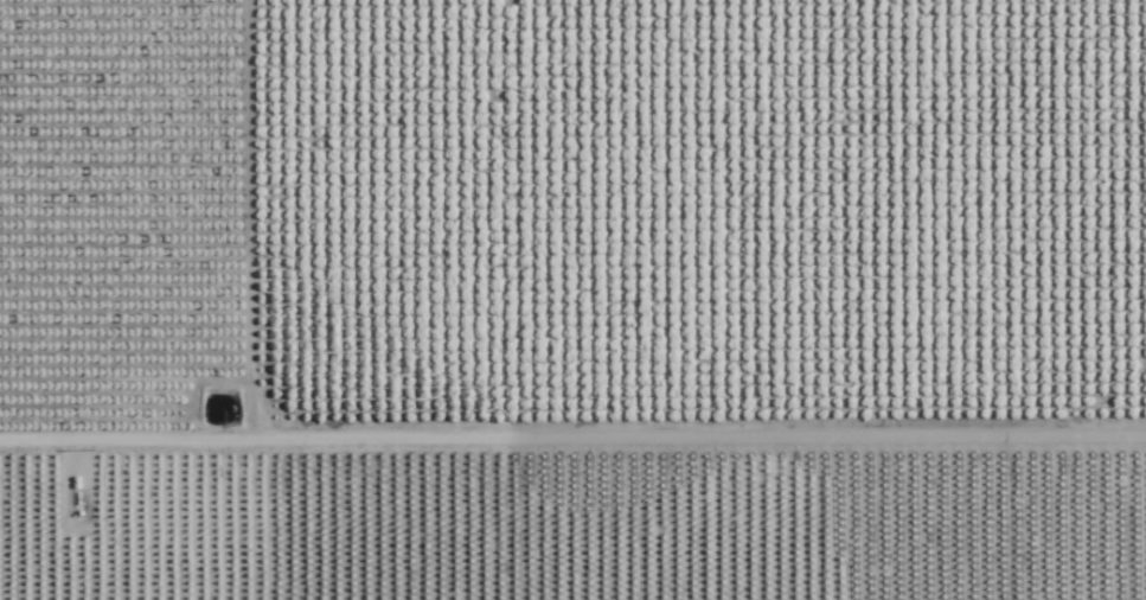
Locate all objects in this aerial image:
crop: (572, 300)
road: (572, 441)
wastewater plant: (184, 522)

